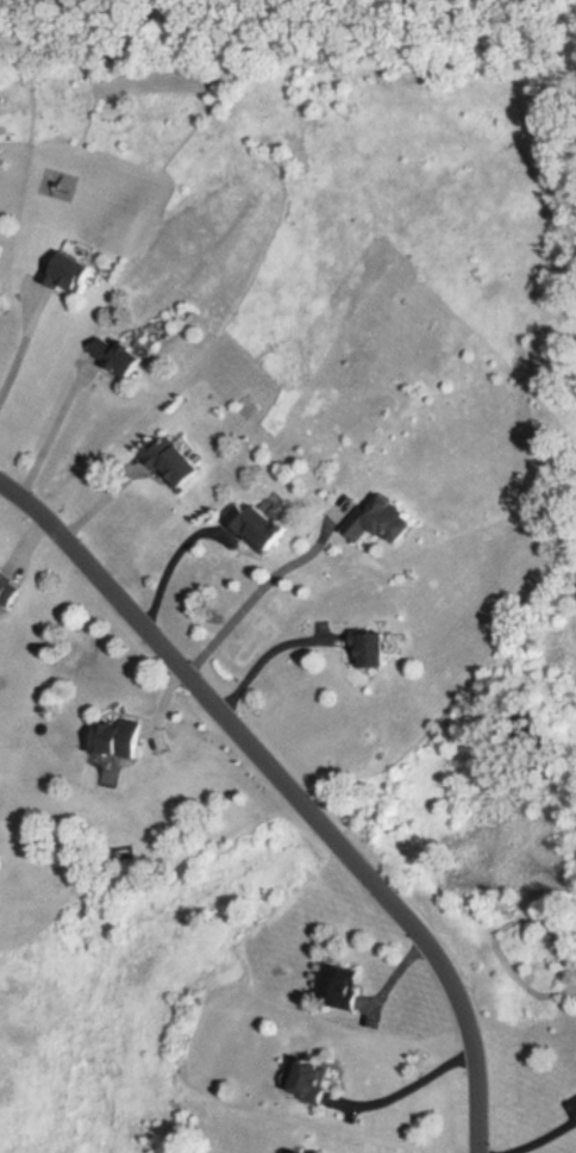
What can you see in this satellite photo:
building: (73, 267)
building: (1, 286)
road: (21, 350)
building: (124, 356)
road: (51, 432)
building: (181, 466)
building: (384, 521)
building: (262, 522)
road: (173, 553)
building: (11, 581)
road: (262, 586)
building: (377, 648)
road: (267, 655)
building: (121, 736)
road: (294, 790)
building: (344, 984)
building: (318, 1082)
road: (406, 1083)
road: (540, 1139)

